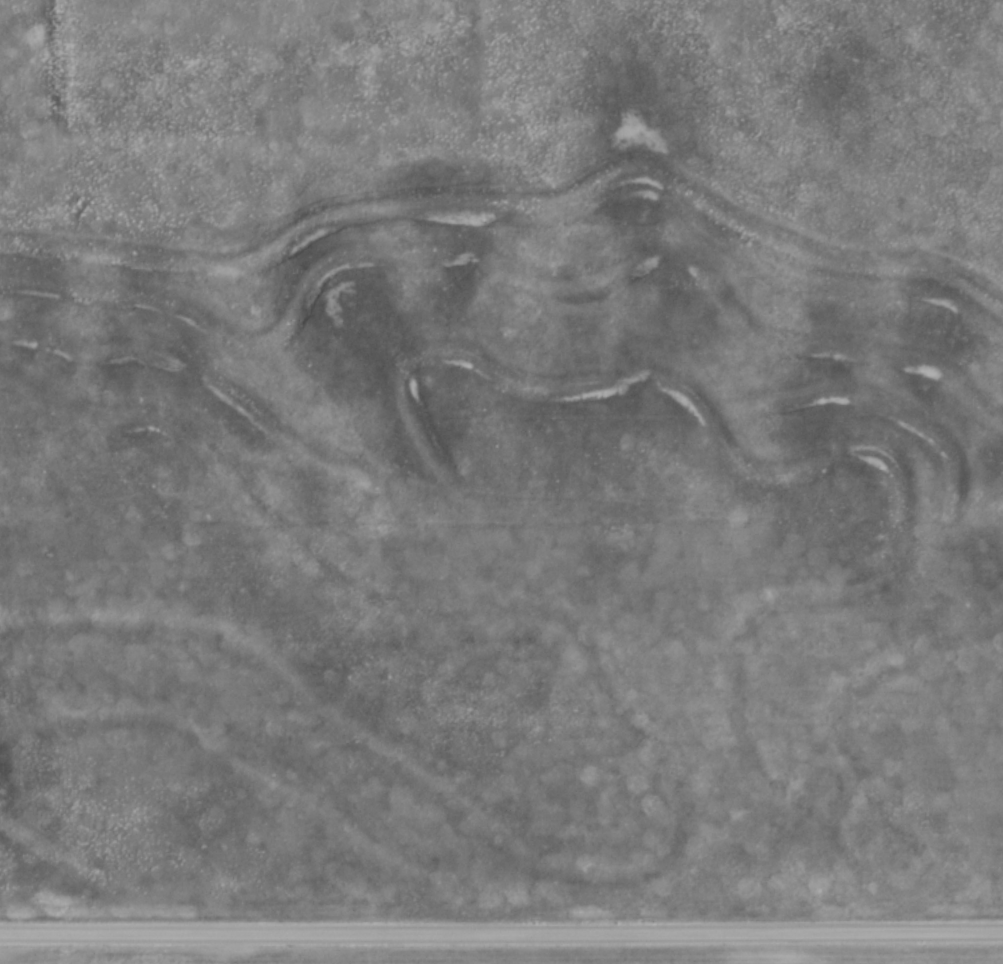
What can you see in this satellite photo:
road: (501, 928)

